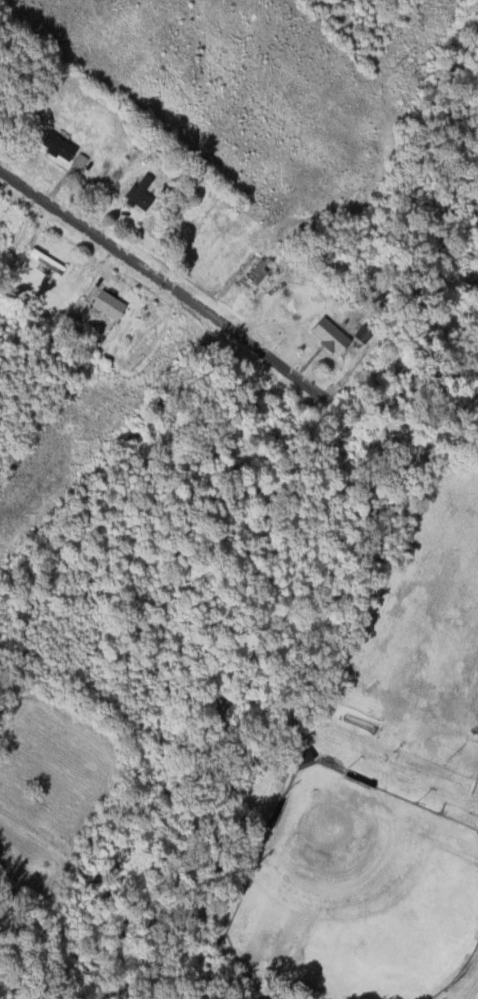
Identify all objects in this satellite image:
power tower: (402, 67)
building: (55, 147)
building: (136, 193)
road: (161, 283)
building: (103, 305)
building: (323, 336)
power tower: (133, 372)
building: (300, 758)

